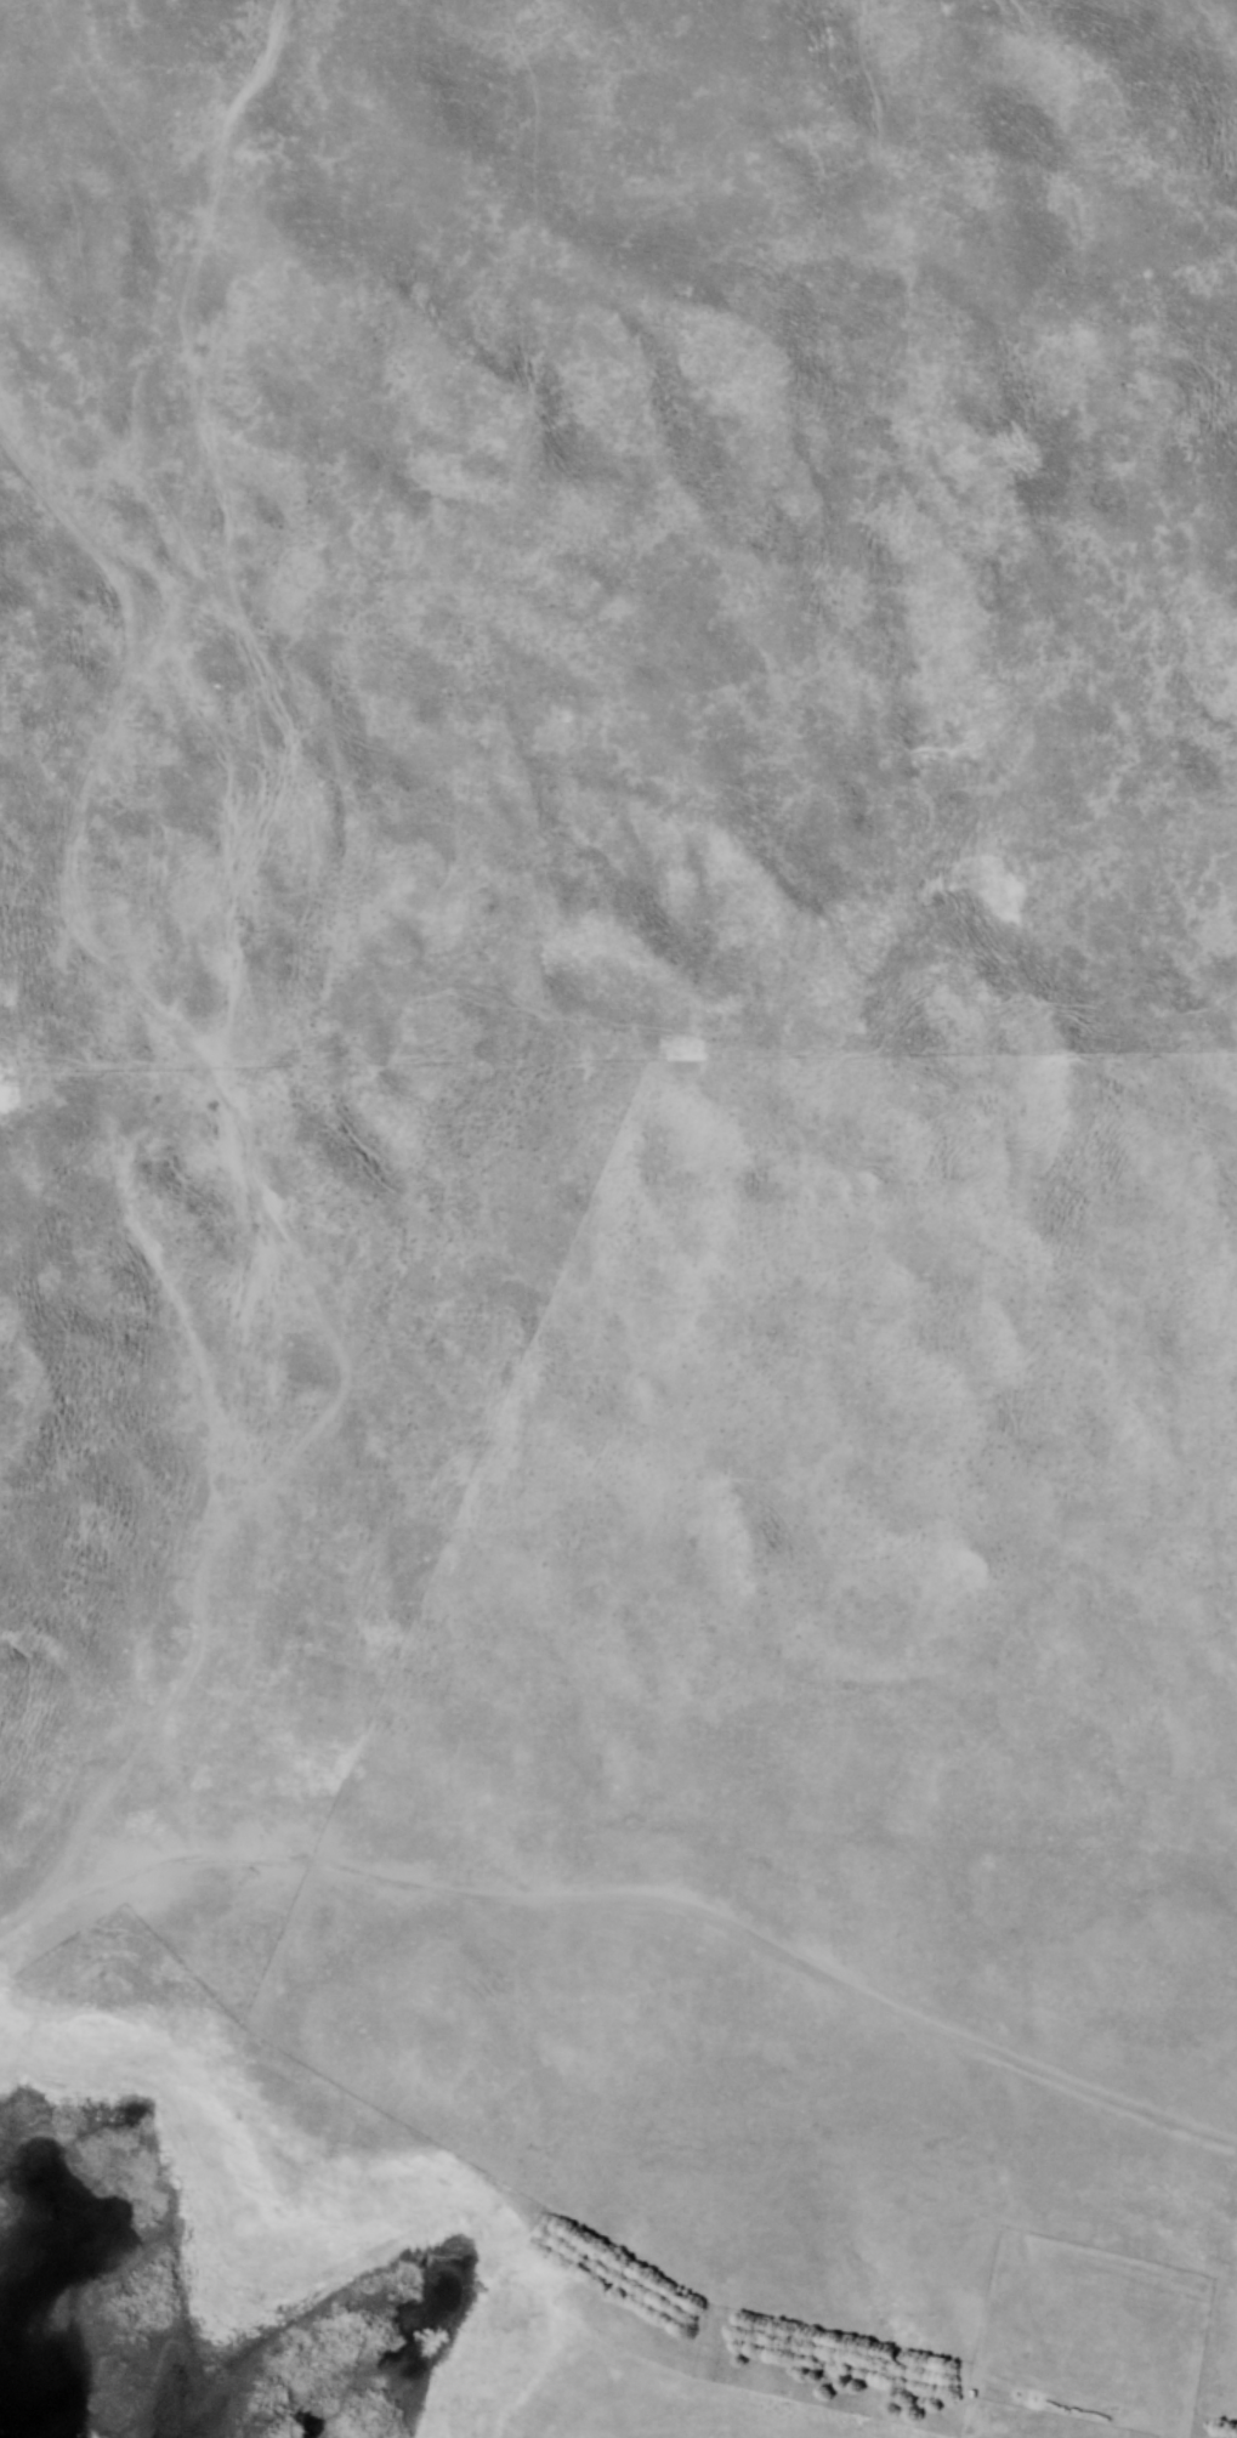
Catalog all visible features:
airport runway: (464, 2409)

